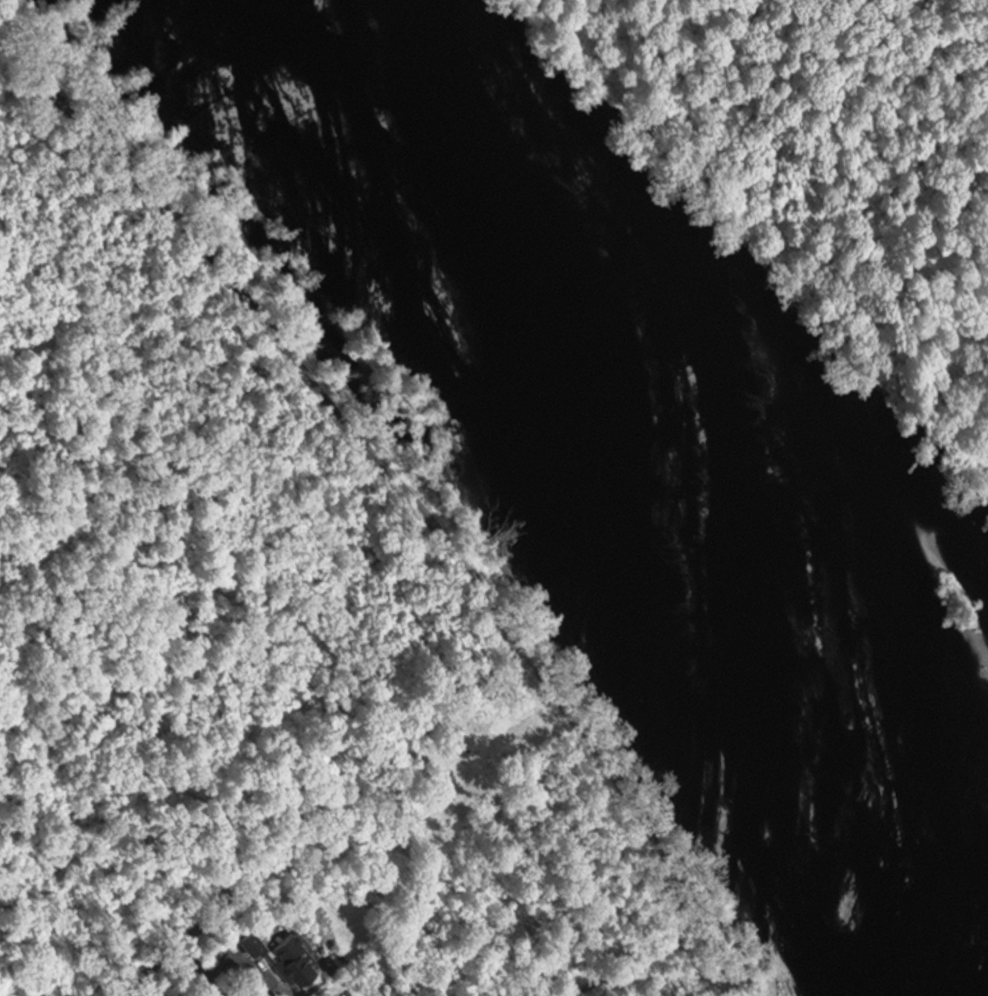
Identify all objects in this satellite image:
road: (296, 362)
river: (685, 470)
road: (635, 804)
road: (281, 854)
building: (242, 942)
building: (287, 957)
road: (640, 975)

